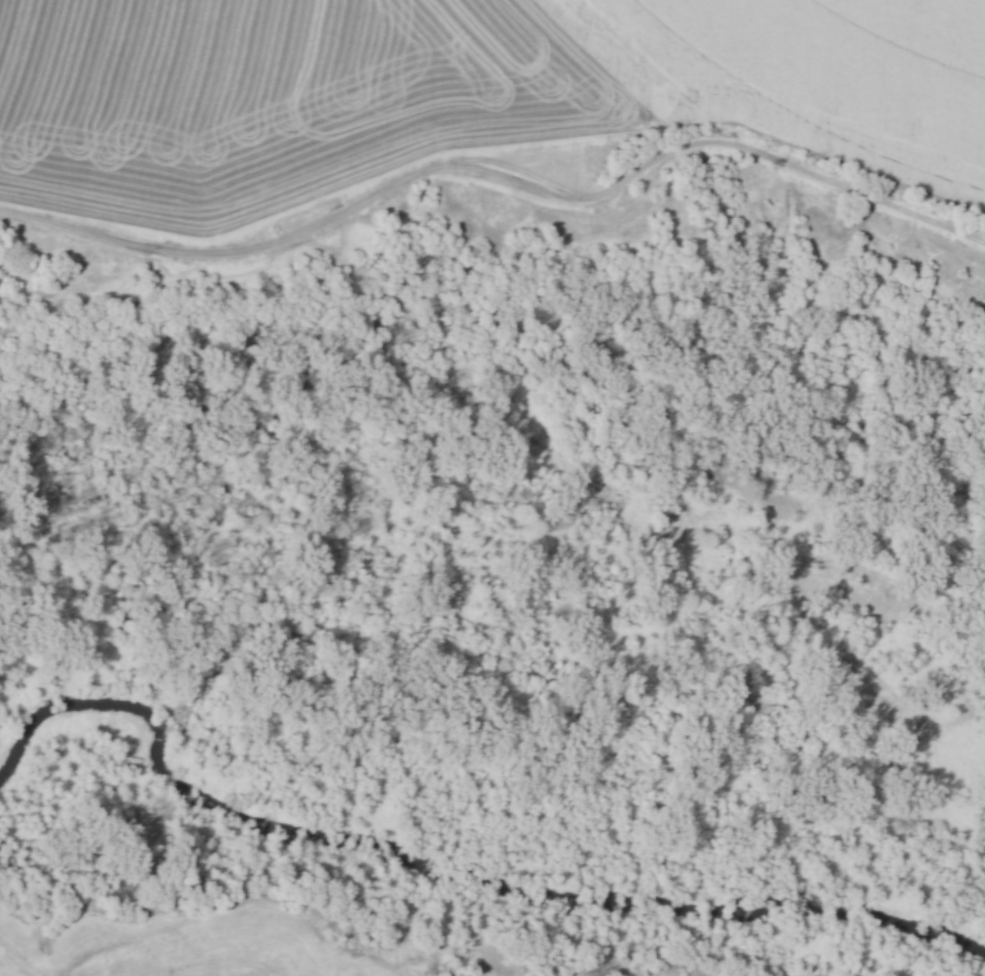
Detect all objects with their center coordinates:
crop: (808, 76)
crop: (265, 98)
park: (490, 622)
crop: (229, 951)
crop: (5, 971)

